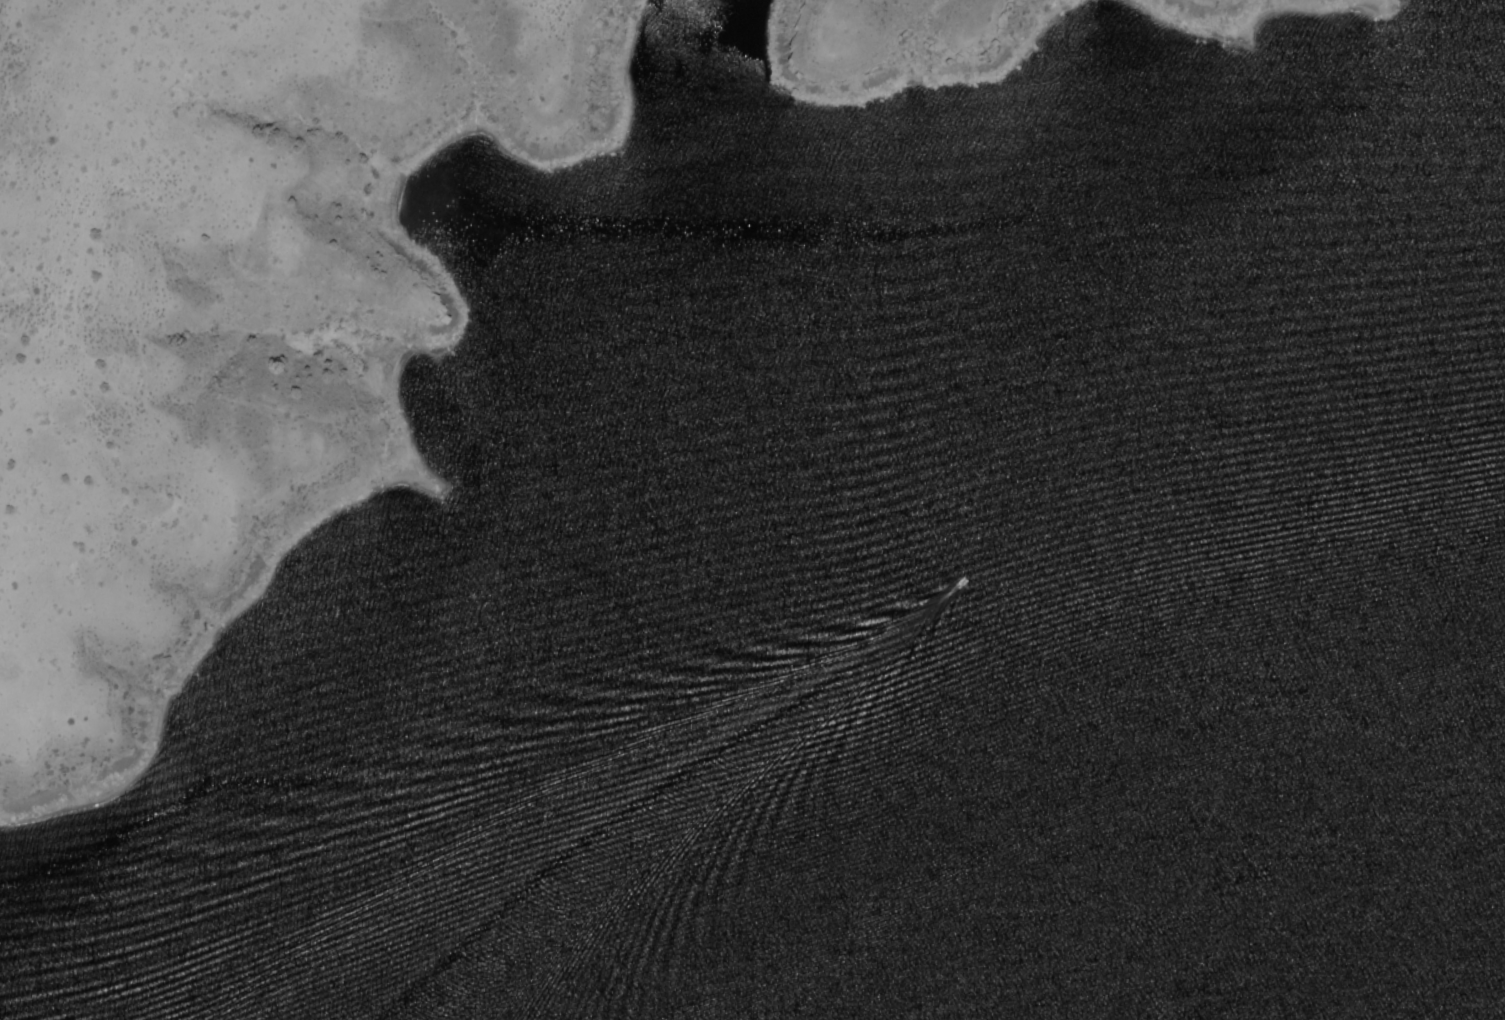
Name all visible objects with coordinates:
river: (1333, 943)

